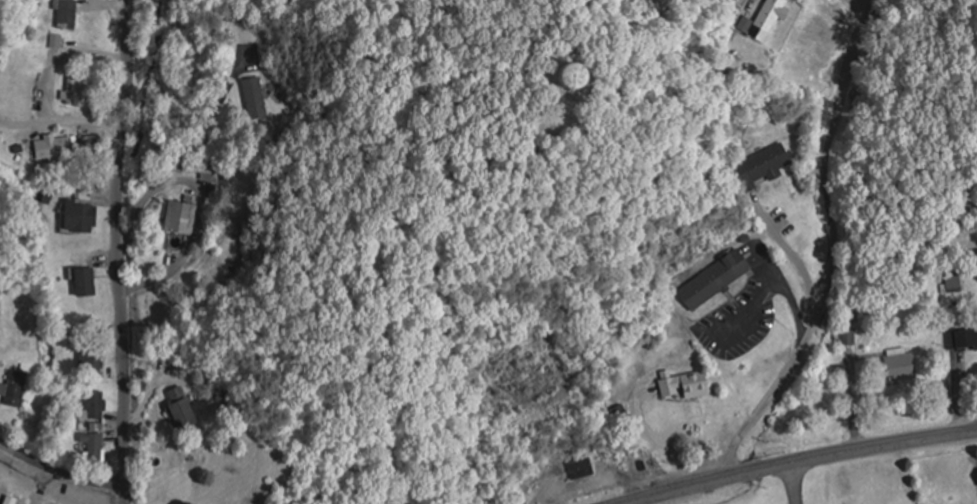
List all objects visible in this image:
building: (71, 15)
building: (767, 18)
building: (56, 41)
building: (563, 76)
building: (73, 88)
building: (254, 97)
road: (236, 131)
building: (52, 147)
building: (761, 166)
building: (208, 169)
road: (171, 185)
road: (243, 213)
building: (80, 216)
building: (180, 217)
road: (118, 251)
building: (714, 280)
building: (84, 281)
building: (954, 282)
park: (163, 305)
building: (962, 337)
building: (90, 363)
building: (901, 364)
building: (683, 383)
building: (14, 388)
building: (93, 404)
building: (179, 410)
building: (93, 445)
road: (799, 462)
building: (580, 468)
road: (60, 471)
building: (544, 483)
road: (793, 484)

